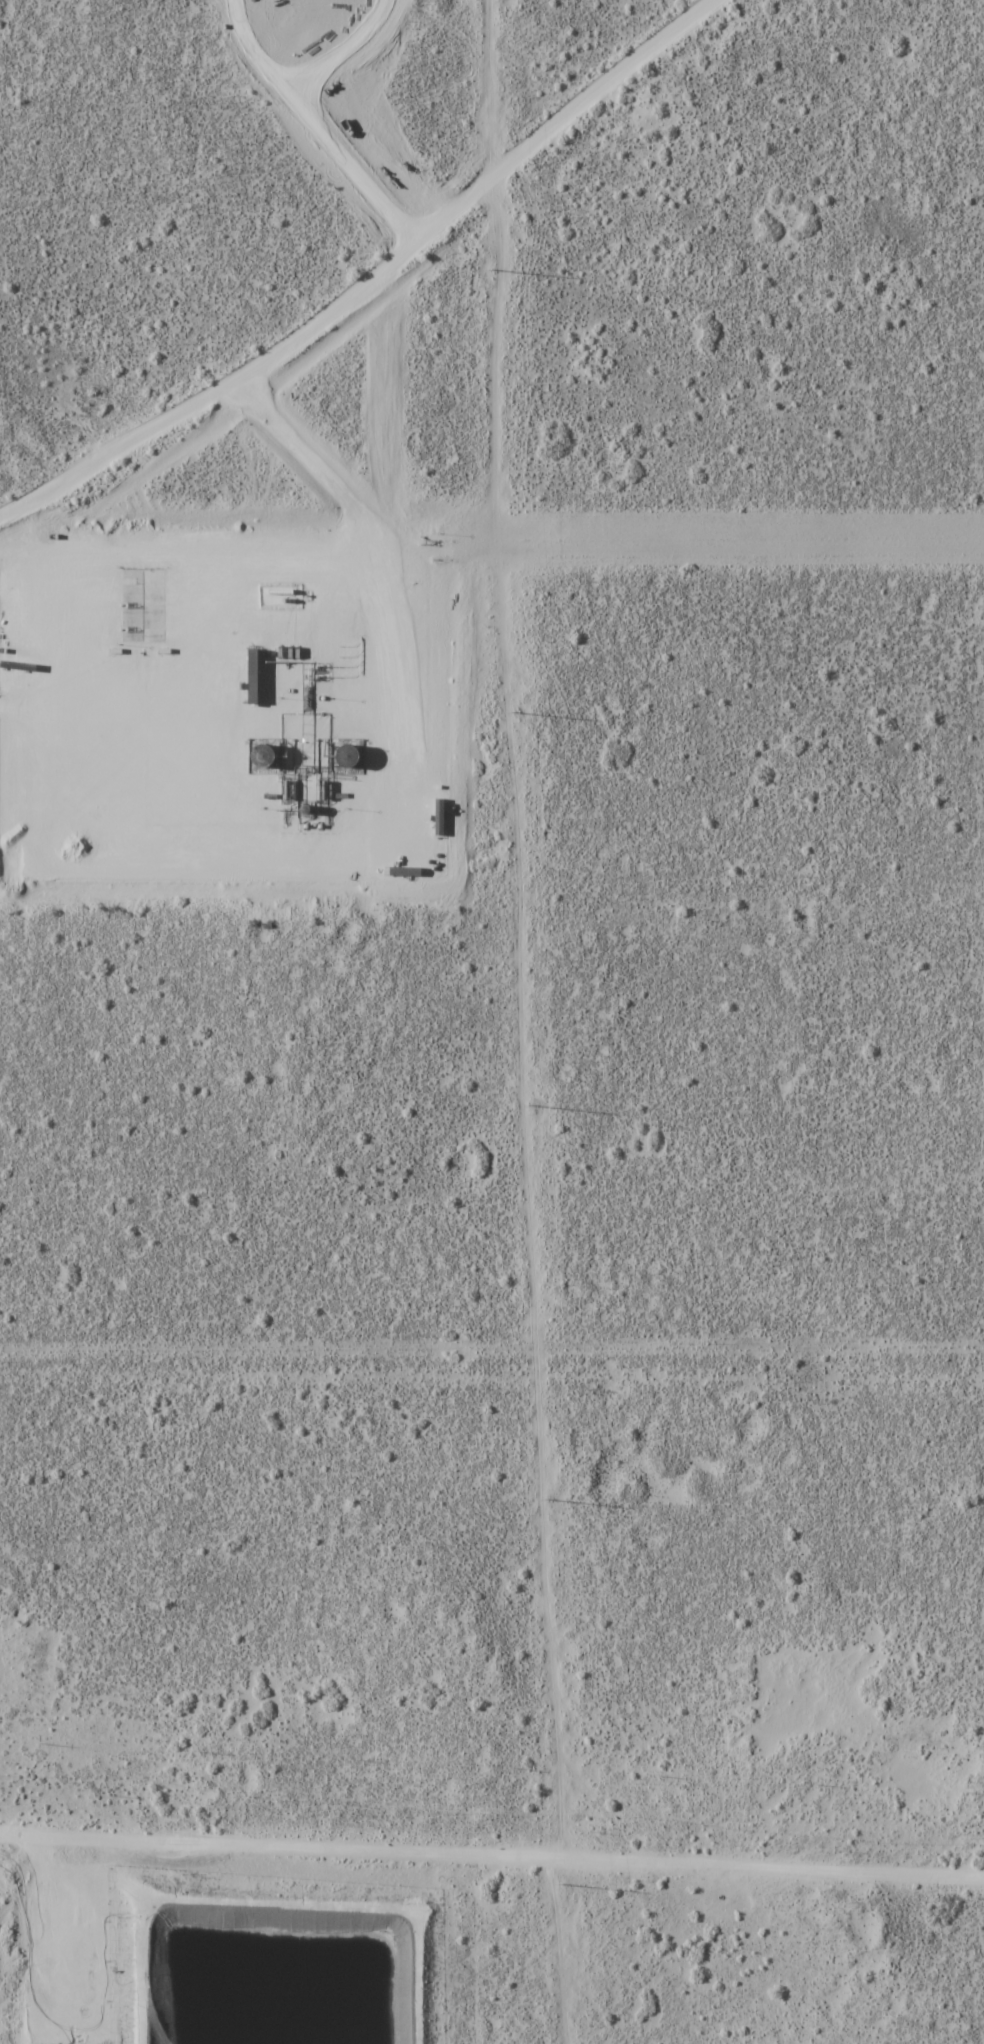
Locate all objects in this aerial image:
road: (367, 277)
road: (187, 550)
road: (391, 788)
road: (491, 1854)

